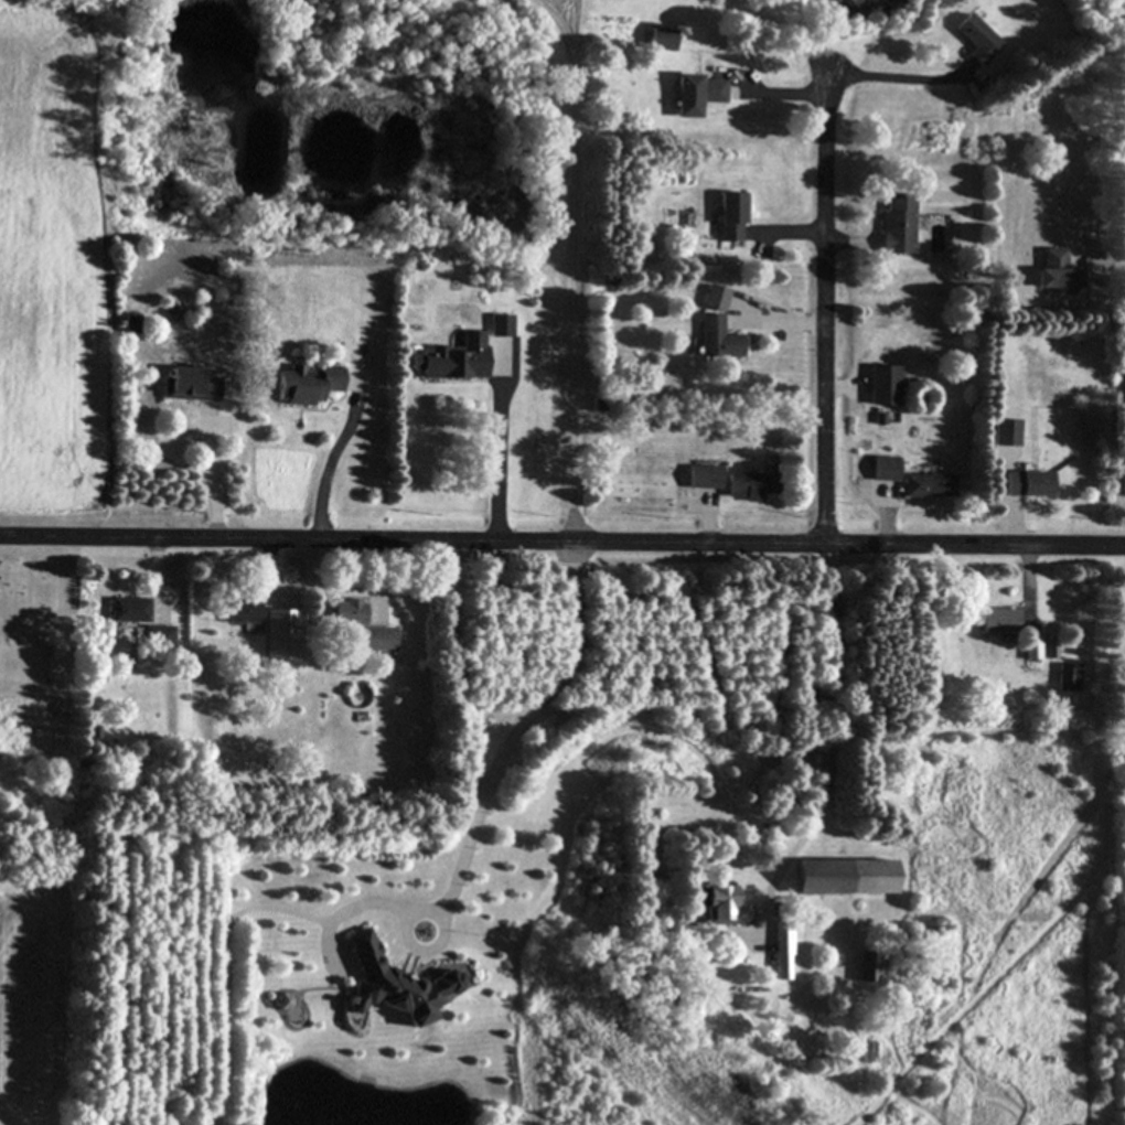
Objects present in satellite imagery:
building: (660, 40)
building: (975, 40)
road: (894, 76)
building: (694, 95)
road: (795, 95)
building: (729, 217)
building: (897, 224)
road: (821, 237)
building: (1053, 272)
building: (714, 299)
road: (829, 308)
road: (792, 320)
building: (128, 325)
building: (500, 326)
building: (716, 340)
building: (452, 361)
building: (304, 385)
building: (185, 386)
road: (843, 386)
building: (882, 386)
building: (1004, 433)
road: (334, 460)
road: (500, 467)
building: (883, 470)
building: (703, 479)
road: (213, 481)
building: (1027, 484)
building: (1122, 484)
building: (926, 486)
building: (748, 488)
road: (889, 526)
road: (709, 528)
road: (1015, 529)
road: (561, 540)
road: (577, 540)
road: (157, 570)
road: (271, 586)
road: (1033, 587)
building: (126, 611)
building: (239, 613)
building: (346, 614)
building: (998, 623)
building: (346, 632)
building: (278, 635)
building: (156, 640)
building: (375, 641)
building: (1031, 649)
building: (1067, 678)
road: (829, 746)
building: (842, 879)
building: (714, 904)
building: (781, 952)
building: (866, 968)
building: (389, 986)

